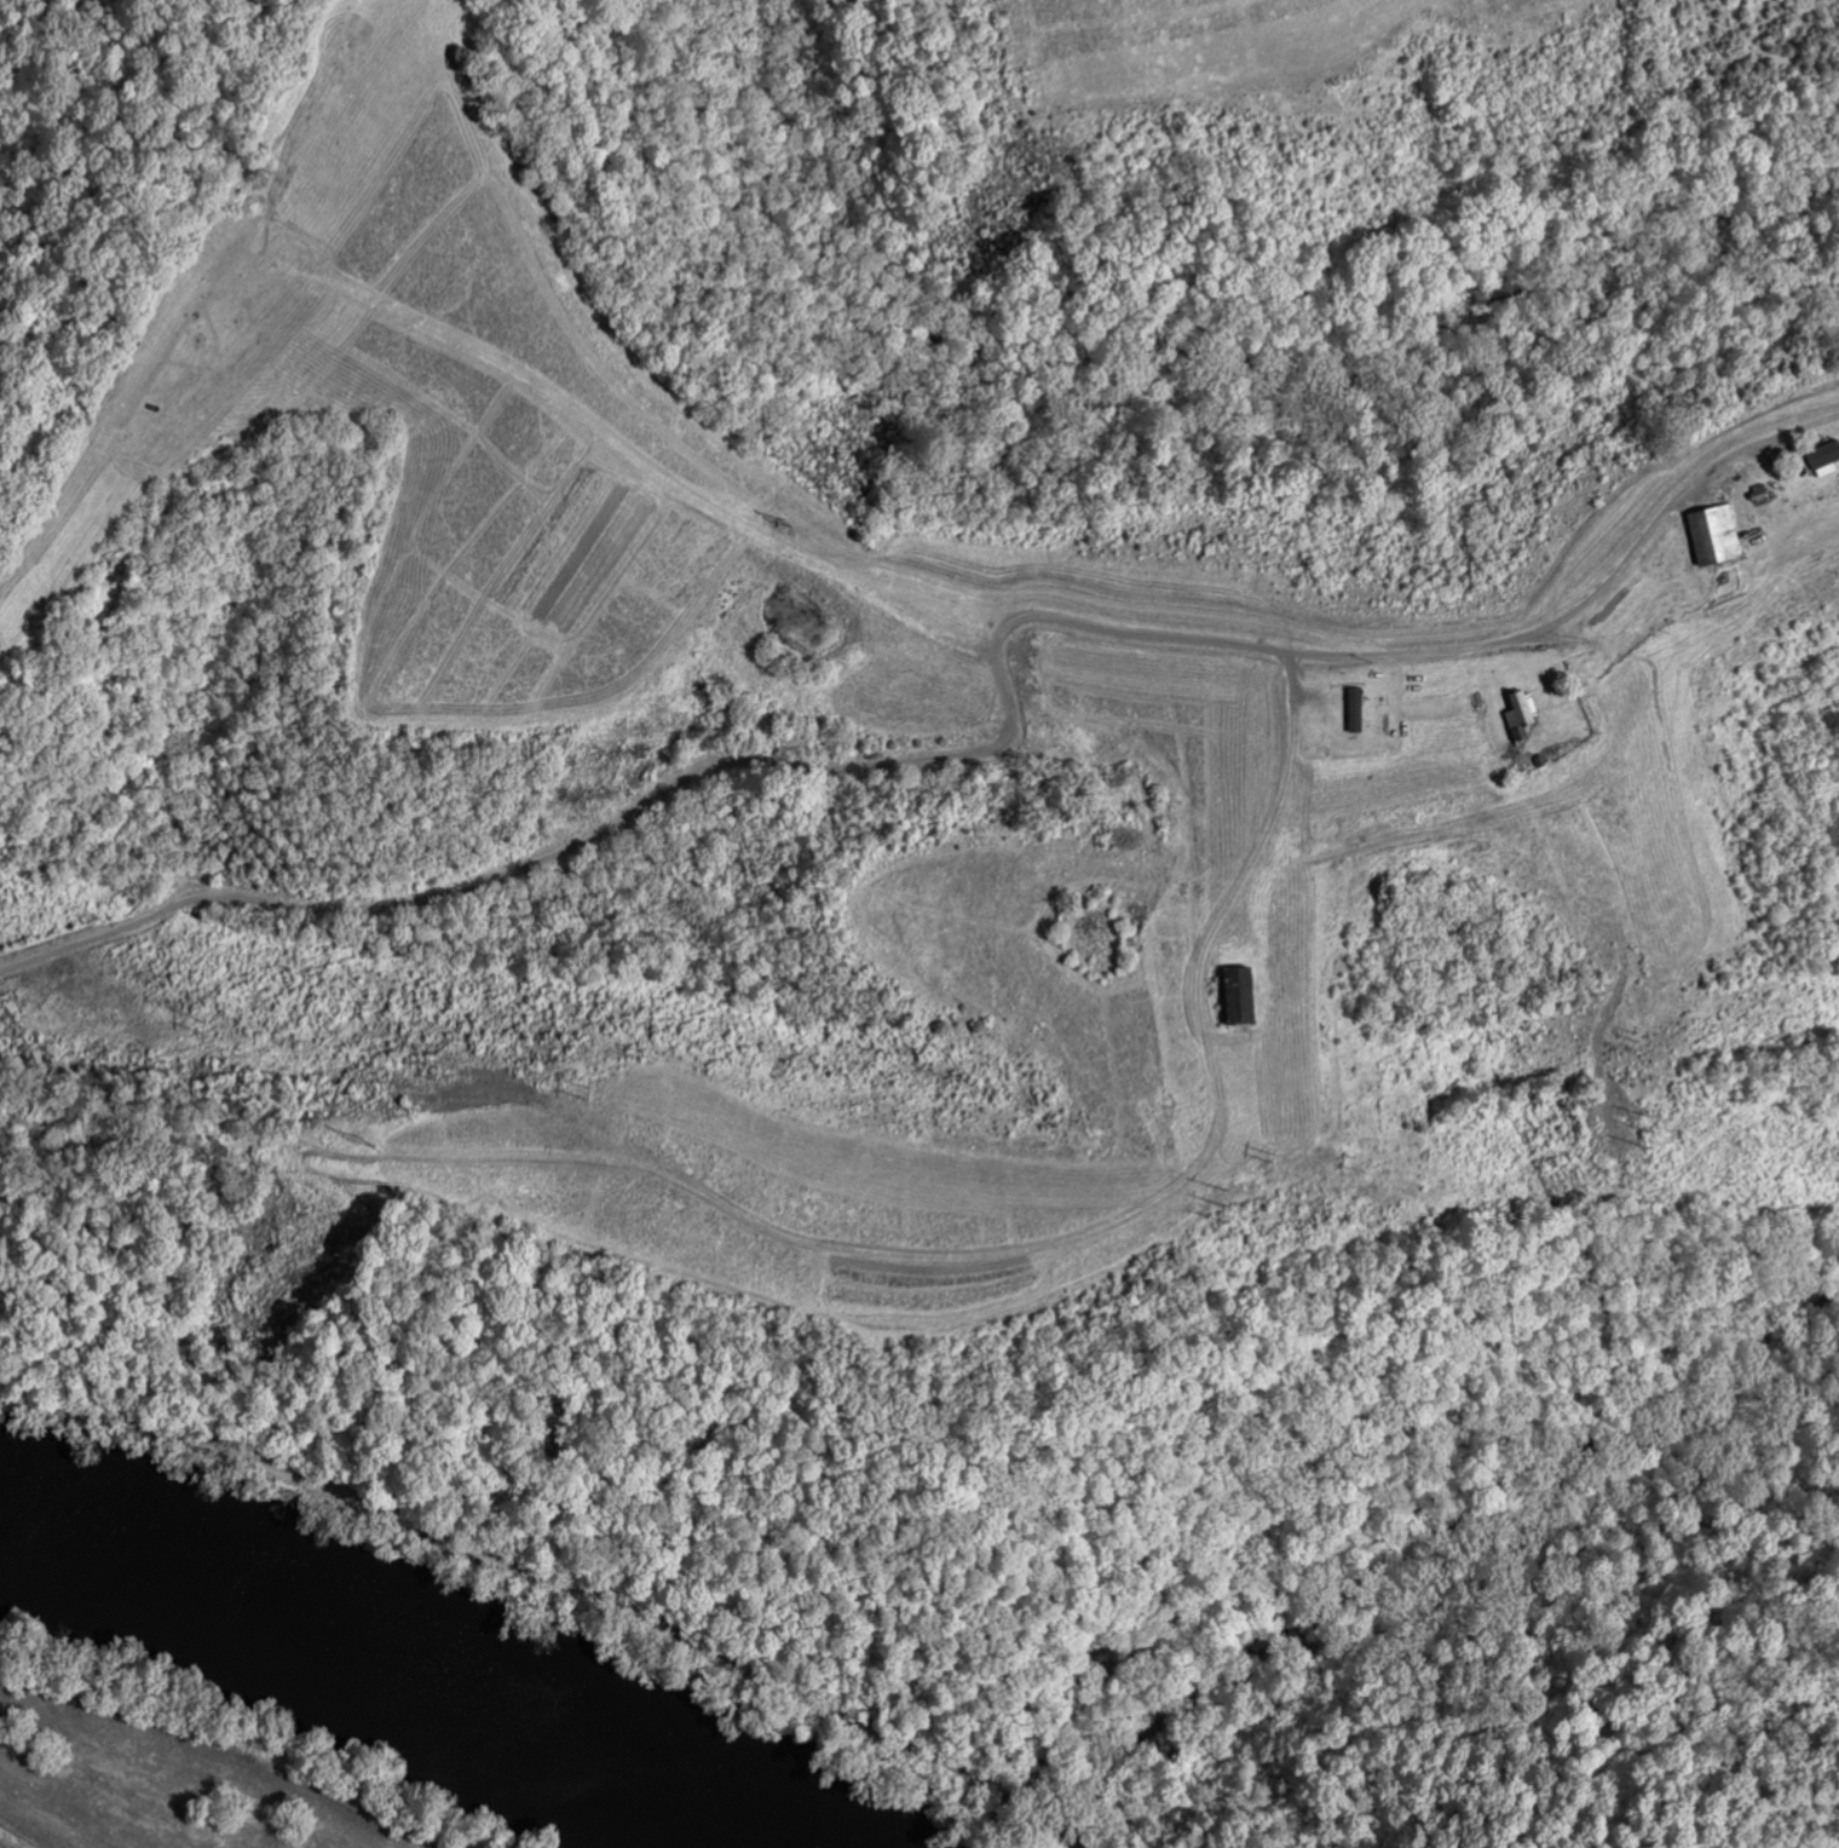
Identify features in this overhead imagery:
road: (1804, 428)
building: (1822, 455)
power tower: (780, 523)
building: (1712, 535)
building: (1520, 714)
building: (1354, 720)
road: (956, 756)
road: (1266, 834)
building: (1235, 996)
power tower: (629, 1014)
power tower: (185, 1021)
power tower: (1626, 1032)
power tower: (622, 1049)
power tower: (414, 1061)
power tower: (566, 1086)
power tower: (1159, 1101)
power tower: (1637, 1127)
power tower: (328, 1139)
power tower: (1261, 1152)
power tower: (1342, 1158)
power tower: (1630, 1178)
power tower: (1212, 1201)
road: (558, 1570)
river: (379, 1663)
road: (1067, 1720)

